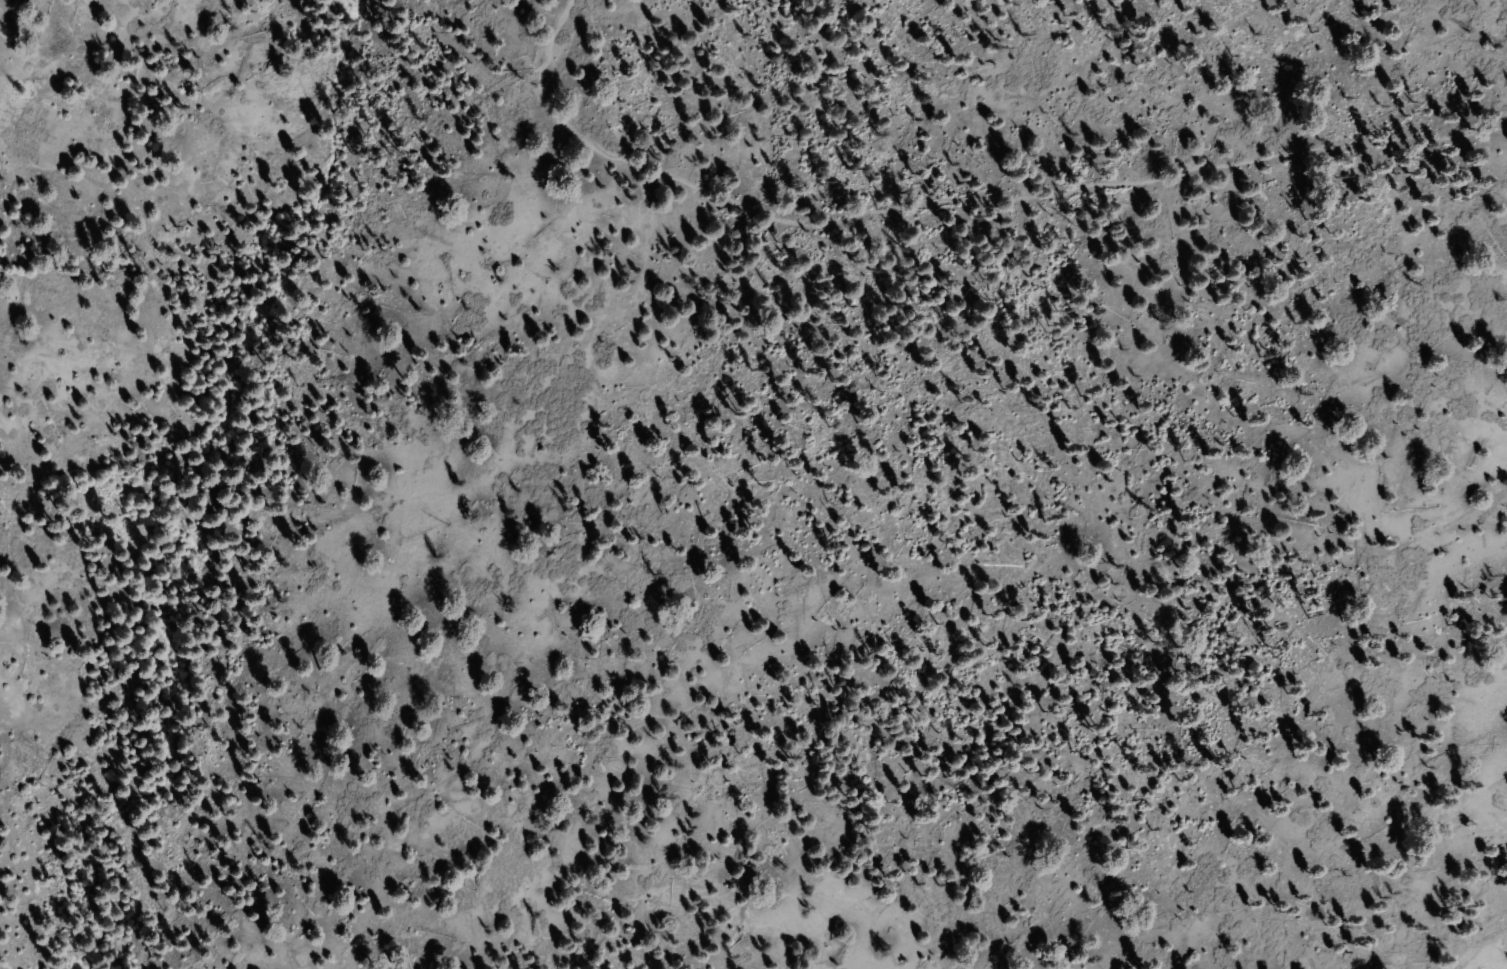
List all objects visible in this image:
road: (956, 194)

